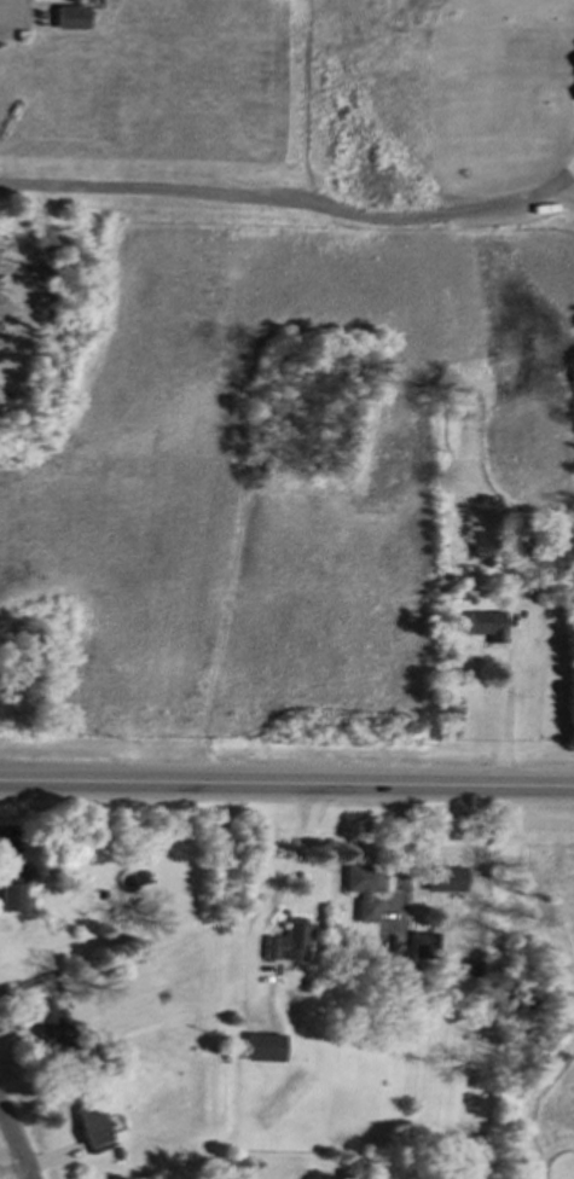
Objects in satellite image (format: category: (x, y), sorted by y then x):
road: (11, 14)
building: (69, 16)
road: (292, 201)
building: (483, 623)
road: (505, 710)
road: (286, 785)
road: (476, 866)
road: (282, 873)
building: (441, 877)
building: (10, 887)
building: (361, 887)
building: (284, 940)
building: (421, 940)
building: (46, 1022)
building: (260, 1045)
building: (91, 1127)
road: (15, 1144)

